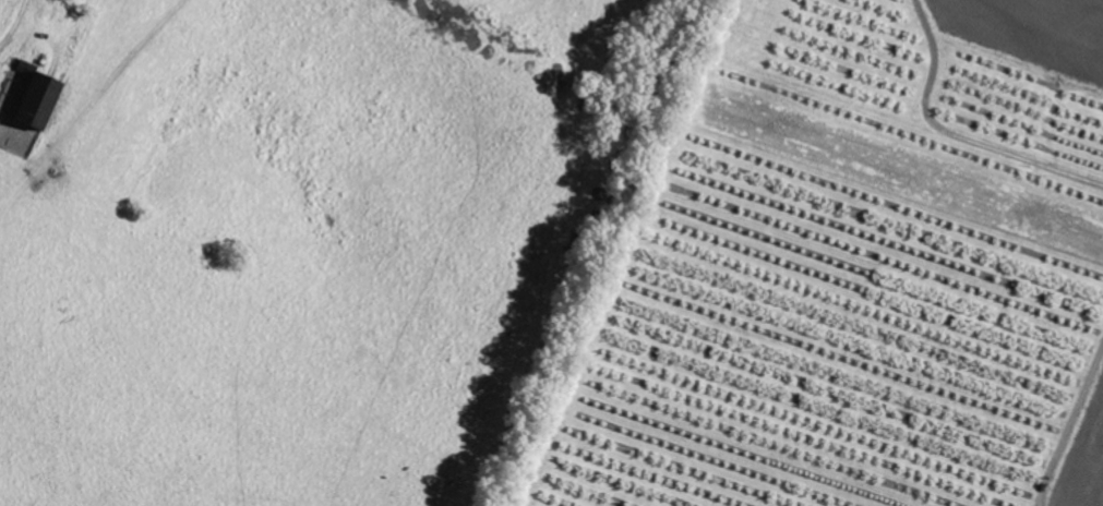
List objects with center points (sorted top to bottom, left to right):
road: (16, 24)
building: (31, 104)
road: (961, 132)
park: (872, 262)
road: (1074, 435)

